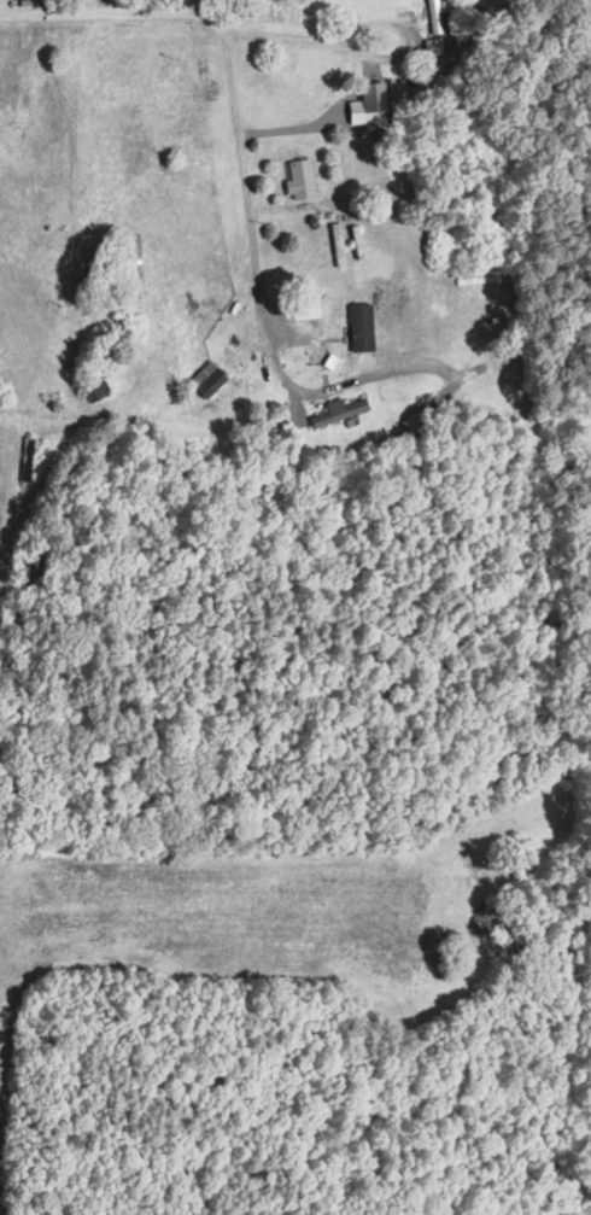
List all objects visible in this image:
road: (109, 11)
building: (435, 17)
park: (536, 37)
road: (364, 52)
road: (239, 142)
building: (303, 179)
building: (308, 309)
building: (364, 328)
building: (215, 384)
building: (99, 392)
building: (341, 414)
building: (416, 420)

